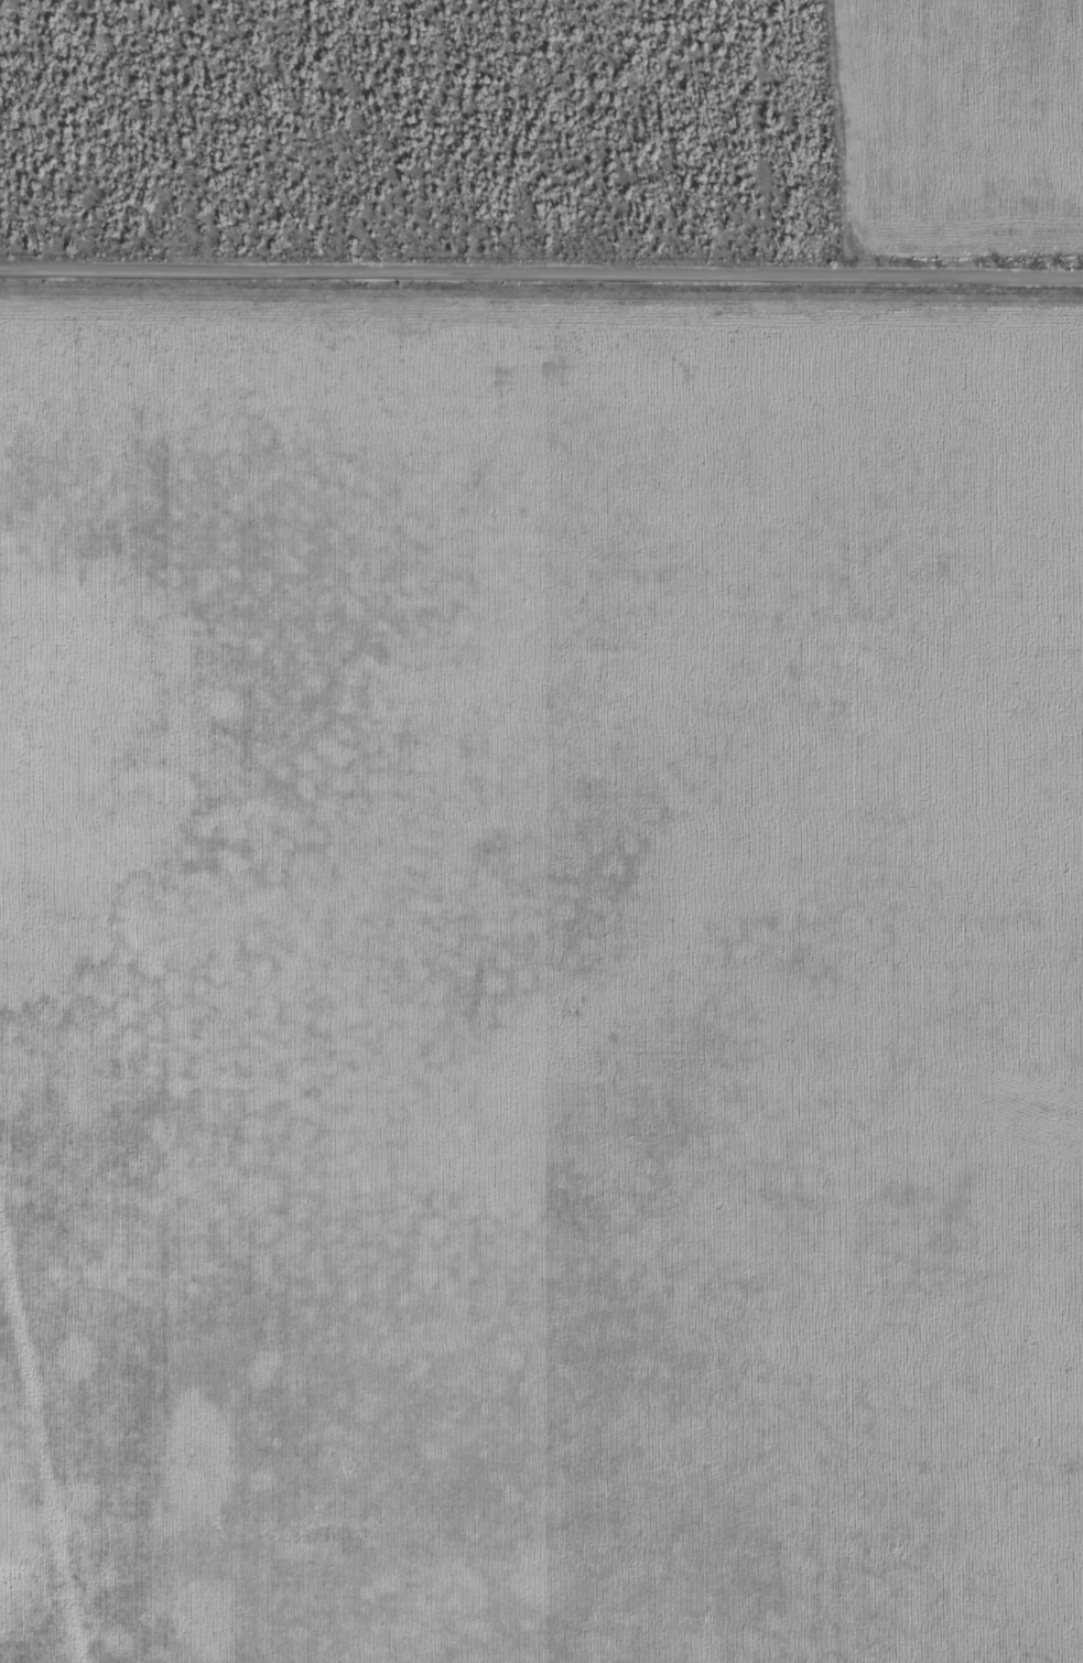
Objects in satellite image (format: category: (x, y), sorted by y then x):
road: (541, 293)

